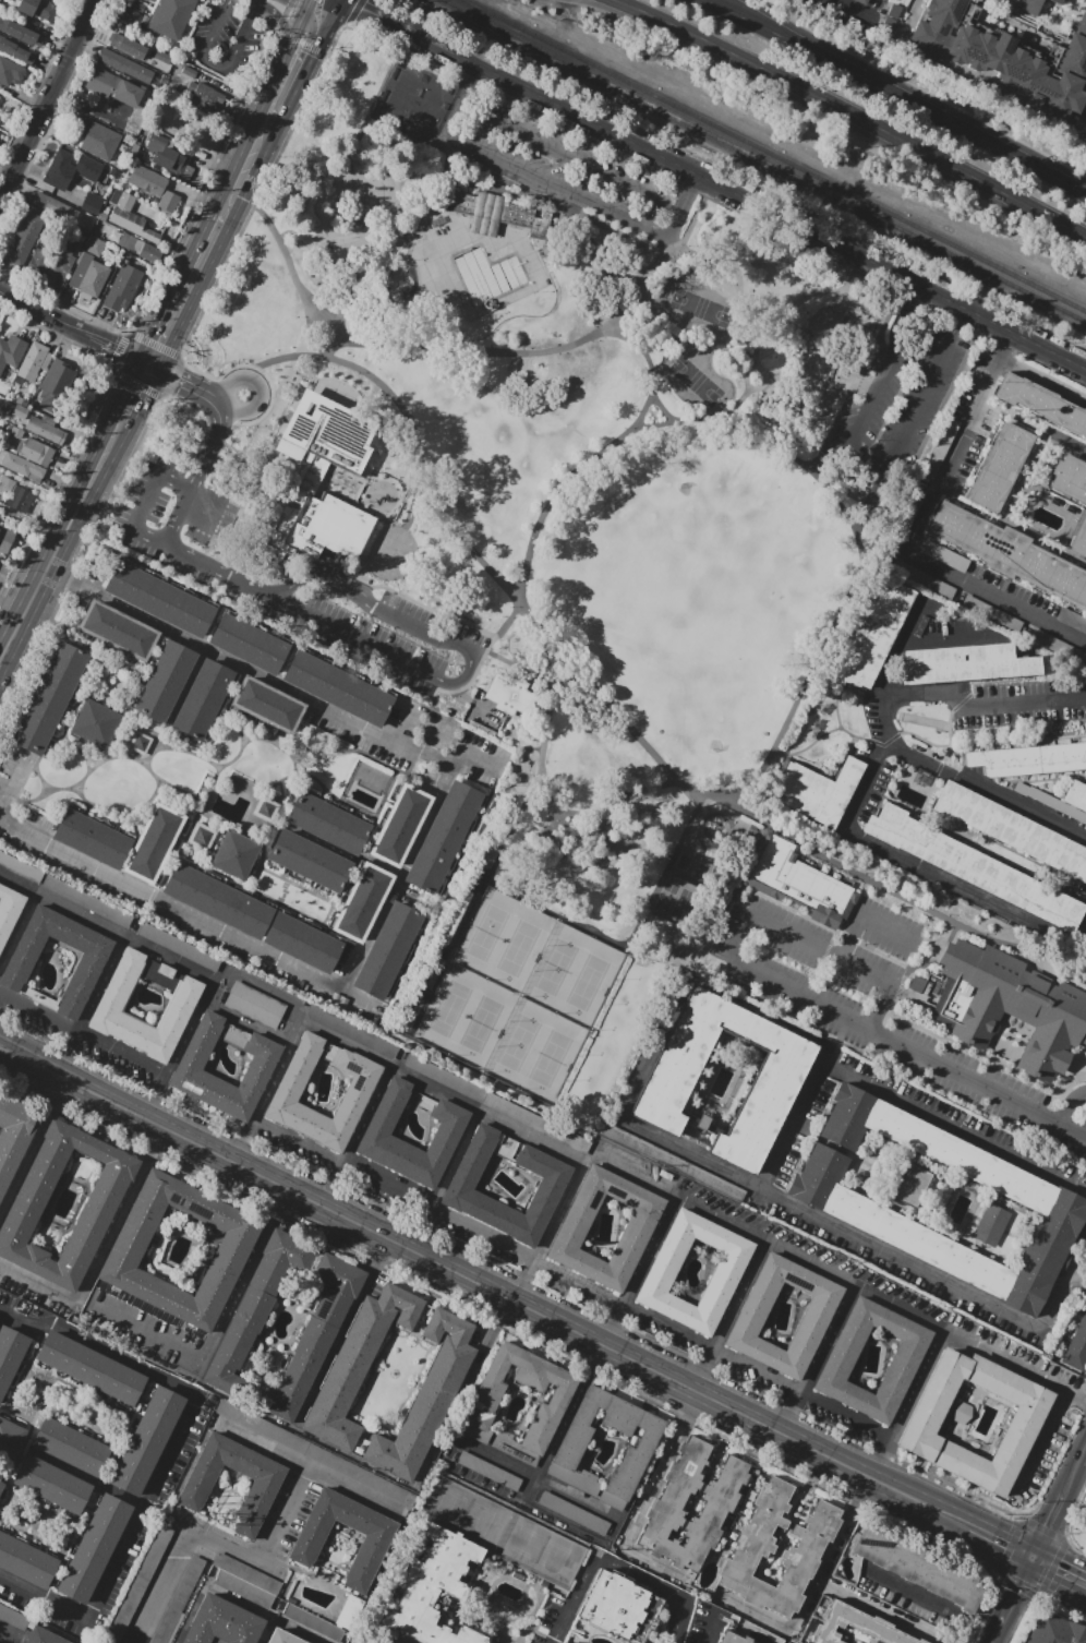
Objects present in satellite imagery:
building: (136, 0)
building: (862, 1)
road: (1003, 1)
building: (1055, 2)
building: (166, 5)
building: (137, 7)
road: (289, 7)
road: (309, 7)
building: (1029, 7)
building: (37, 9)
road: (855, 10)
road: (879, 10)
road: (331, 11)
traffic signals: (306, 13)
road: (378, 14)
building: (130, 15)
road: (315, 17)
road: (1004, 21)
traffic signals: (325, 22)
road: (1005, 24)
road: (1035, 24)
road: (1050, 26)
building: (161, 32)
building: (20, 33)
road: (293, 38)
parking lot: (226, 43)
building: (123, 44)
road: (311, 47)
building: (16, 51)
building: (1005, 56)
building: (155, 58)
building: (125, 64)
road: (218, 68)
building: (190, 72)
building: (10, 73)
road: (286, 82)
road: (474, 86)
building: (112, 87)
road: (919, 88)
road: (895, 95)
road: (48, 97)
building: (206, 97)
park: (419, 104)
road: (1083, 109)
road: (90, 110)
road: (850, 115)
building: (97, 139)
railway: (774, 156)
road: (447, 157)
railway: (763, 159)
building: (174, 161)
road: (7, 164)
parking lot: (567, 166)
building: (87, 168)
building: (56, 169)
road: (425, 175)
road: (390, 176)
road: (45, 185)
building: (154, 187)
road: (696, 199)
road: (748, 200)
road: (348, 201)
building: (90, 205)
building: (53, 206)
road: (395, 212)
road: (578, 213)
building: (494, 214)
road: (323, 216)
building: (131, 219)
road: (358, 220)
building: (32, 224)
road: (215, 232)
road: (388, 233)
road: (673, 241)
road: (312, 242)
building: (94, 245)
building: (20, 248)
building: (43, 252)
building: (146, 252)
building: (64, 255)
road: (288, 261)
road: (735, 261)
road: (603, 266)
building: (88, 276)
building: (122, 288)
street lamp: (448, 289)
road: (812, 295)
road: (648, 308)
park: (702, 308)
road: (196, 319)
road: (73, 328)
road: (336, 329)
road: (414, 336)
road: (744, 338)
building: (12, 351)
road: (275, 358)
building: (32, 361)
traffic signals: (147, 367)
road: (109, 369)
road: (1045, 380)
road: (179, 381)
park: (699, 381)
building: (55, 385)
road: (257, 386)
parking lot: (904, 389)
road: (852, 391)
building: (22, 401)
building: (1040, 403)
road: (217, 406)
building: (19, 411)
building: (12, 420)
road: (650, 425)
building: (45, 429)
building: (15, 432)
road: (251, 449)
road: (181, 451)
building: (36, 452)
road: (862, 464)
building: (21, 467)
building: (999, 467)
building: (1069, 479)
road: (194, 480)
building: (312, 483)
road: (153, 487)
building: (15, 495)
road: (547, 513)
road: (74, 516)
park: (545, 517)
building: (903, 520)
road: (915, 532)
building: (5, 539)
building: (1078, 539)
building: (1010, 553)
building: (944, 555)
road: (202, 563)
parking lot: (200, 568)
park: (700, 579)
building: (924, 580)
building: (159, 599)
road: (424, 605)
building: (991, 614)
building: (1072, 620)
building: (118, 629)
building: (871, 633)
building: (249, 644)
building: (1057, 648)
road: (470, 661)
building: (964, 663)
road: (810, 667)
road: (522, 669)
building: (165, 682)
building: (338, 688)
road: (932, 693)
building: (510, 695)
building: (49, 697)
building: (203, 699)
road: (1029, 704)
building: (267, 705)
road: (835, 705)
building: (95, 723)
road: (831, 730)
building: (140, 743)
building: (1027, 759)
road: (967, 781)
road: (2, 785)
building: (816, 790)
road: (2, 792)
building: (265, 808)
road: (590, 813)
building: (1073, 813)
building: (327, 823)
building: (400, 825)
building: (1011, 830)
building: (202, 837)
building: (443, 837)
building: (92, 839)
building: (154, 843)
road: (412, 850)
building: (234, 855)
building: (486, 855)
building: (309, 861)
road: (918, 867)
building: (973, 867)
building: (20, 868)
park: (695, 868)
building: (799, 880)
road: (507, 889)
park: (665, 896)
road: (904, 897)
building: (217, 901)
building: (86, 902)
building: (362, 902)
park: (683, 904)
building: (9, 911)
road: (865, 914)
road: (17, 928)
road: (1081, 933)
building: (302, 943)
building: (1085, 943)
building: (177, 946)
road: (819, 949)
building: (388, 950)
building: (88, 964)
building: (165, 971)
park: (521, 996)
building: (112, 998)
parking lot: (868, 1003)
building: (255, 1005)
building: (1005, 1005)
road: (90, 1006)
road: (245, 1022)
road: (83, 1032)
road: (892, 1039)
building: (384, 1047)
road: (178, 1050)
road: (29, 1060)
building: (263, 1062)
building: (435, 1072)
building: (668, 1082)
building: (358, 1088)
road: (266, 1091)
road: (55, 1096)
building: (504, 1106)
road: (1061, 1116)
road: (625, 1123)
building: (450, 1127)
road: (534, 1134)
building: (14, 1136)
road: (355, 1136)
road: (155, 1139)
road: (23, 1163)
road: (444, 1179)
building: (461, 1183)
road: (765, 1183)
building: (910, 1184)
building: (104, 1196)
building: (826, 1199)
road: (279, 1200)
building: (990, 1225)
building: (572, 1228)
road: (548, 1230)
building: (231, 1250)
road: (1083, 1252)
road: (93, 1266)
road: (639, 1270)
building: (725, 1273)
road: (569, 1279)
road: (1076, 1280)
road: (239, 1284)
road: (482, 1287)
road: (728, 1315)
building: (816, 1316)
building: (1081, 1328)
road: (149, 1329)
building: (242, 1329)
road: (339, 1332)
building: (1075, 1353)
building: (10, 1356)
road: (817, 1358)
building: (903, 1362)
building: (89, 1368)
building: (340, 1383)
road: (905, 1402)
building: (483, 1403)
road: (458, 1412)
building: (922, 1419)
road: (564, 1425)
building: (10, 1441)
building: (146, 1441)
road: (1040, 1443)
building: (70, 1446)
building: (571, 1447)
building: (312, 1452)
road: (170, 1454)
road: (304, 1466)
road: (1073, 1470)
road: (84, 1479)
building: (52, 1484)
building: (1, 1487)
building: (194, 1491)
road: (643, 1501)
building: (666, 1507)
road: (930, 1509)
building: (572, 1512)
road: (281, 1515)
road: (574, 1524)
road: (1046, 1526)
park: (500, 1533)
road: (992, 1539)
road: (184, 1540)
building: (373, 1547)
building: (93, 1548)
building: (756, 1548)
traffic signals: (1030, 1559)
building: (25, 1561)
building: (915, 1563)
road: (611, 1569)
road: (1058, 1572)
building: (245, 1581)
building: (433, 1588)
road: (1019, 1592)
road: (811, 1593)
building: (131, 1598)
building: (178, 1600)
road: (931, 1602)
building: (618, 1607)
road: (879, 1612)
road: (190, 1614)
road: (262, 1614)
building: (13, 1618)
parking lot: (13, 1618)
parking lot: (555, 1619)
building: (220, 1622)
building: (313, 1622)
parking lot: (705, 1623)
building: (857, 1626)
road: (710, 1629)
road: (265, 1631)
building: (1049, 1632)
road: (1000, 1633)
road: (9, 1636)
building: (43, 1636)
building: (281, 1636)
road: (3, 1639)
building: (732, 1639)
parking lot: (785, 1642)

